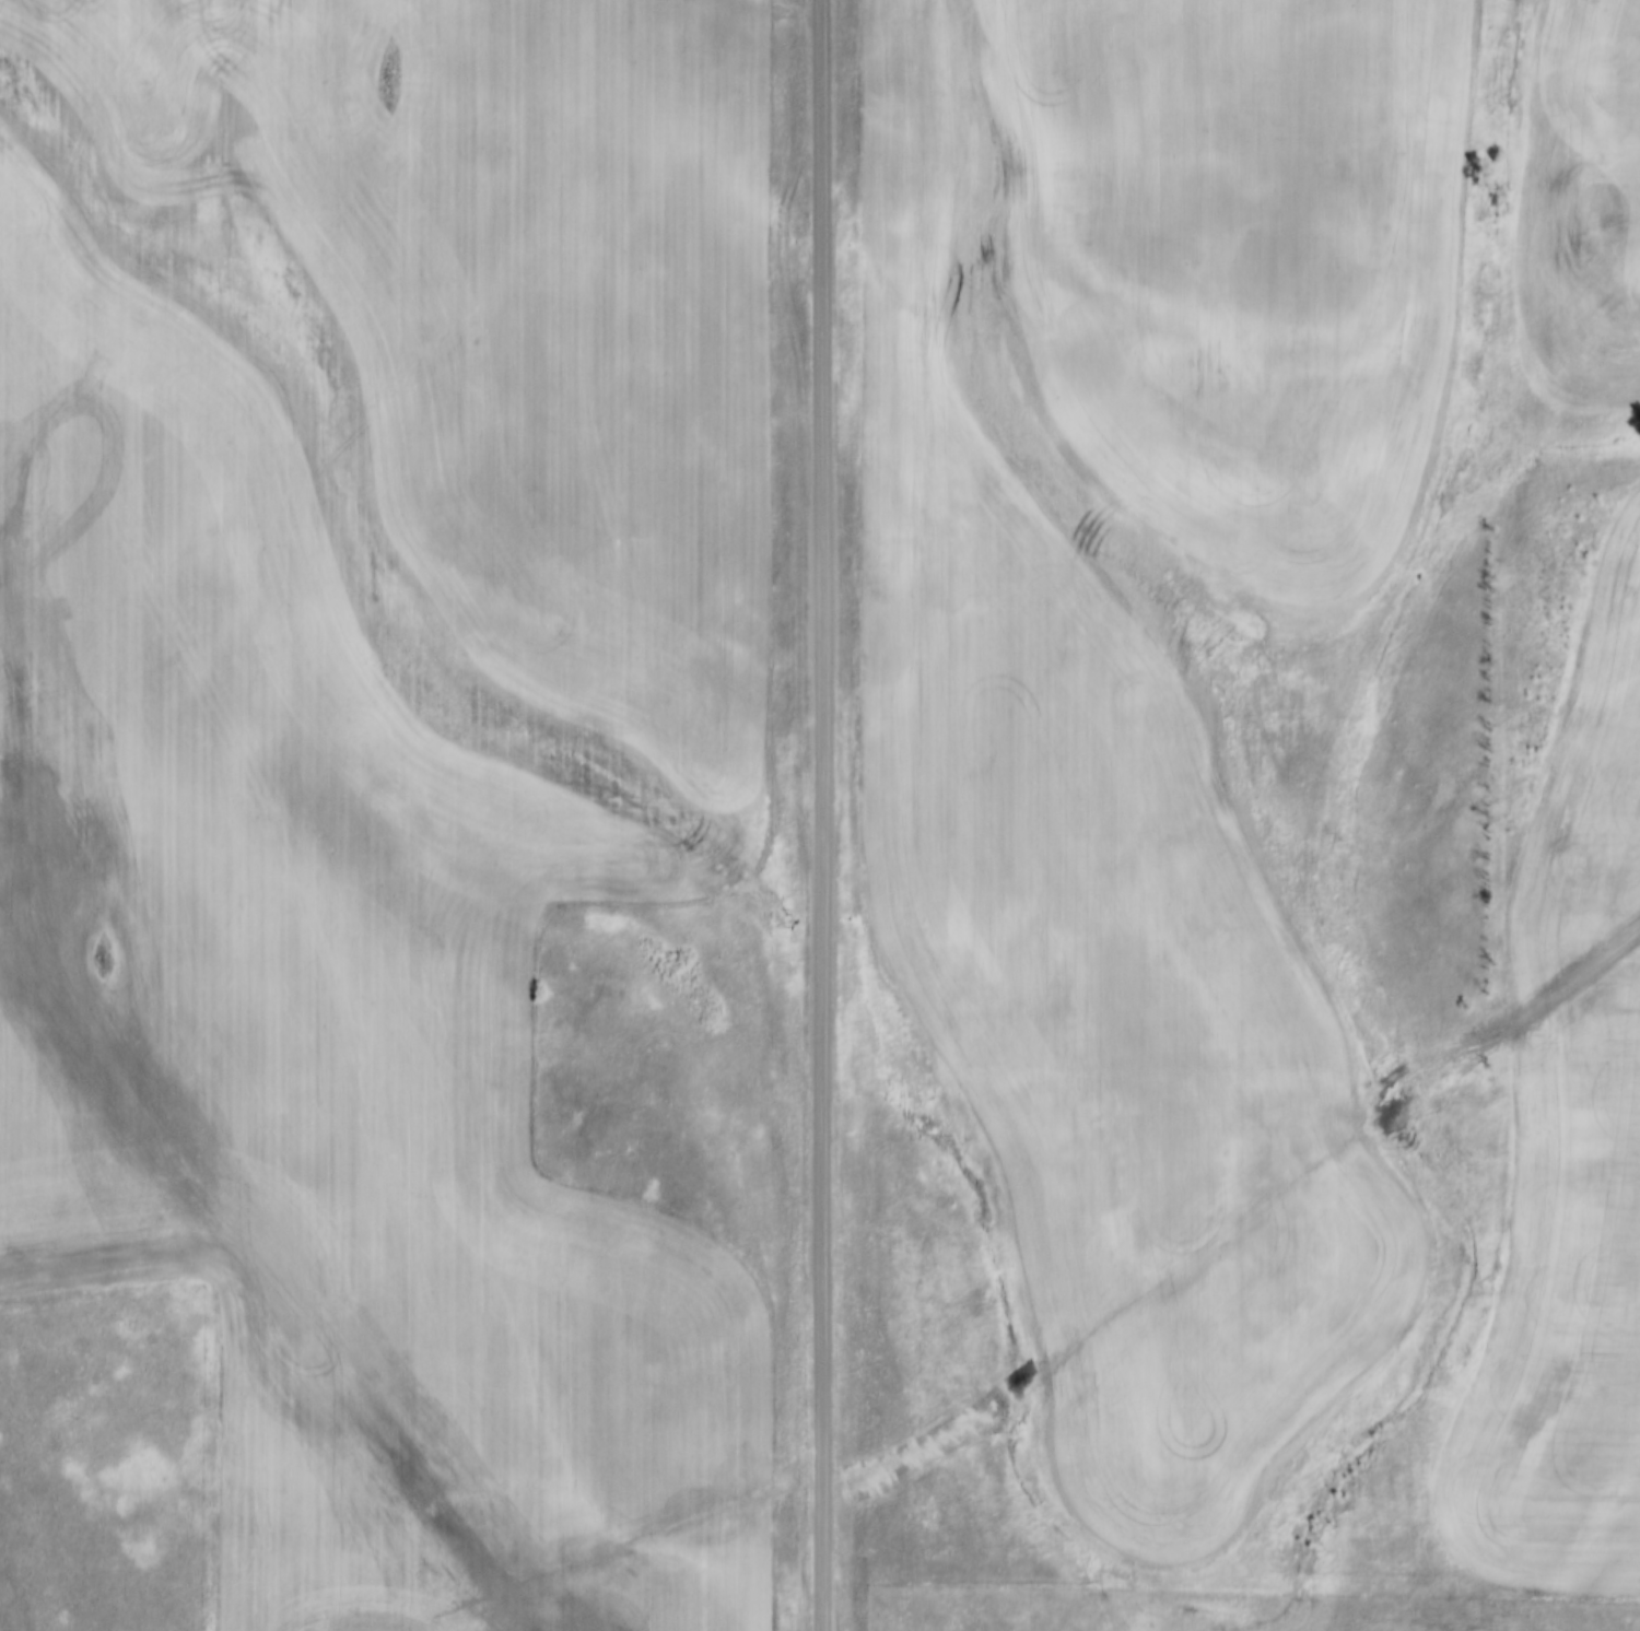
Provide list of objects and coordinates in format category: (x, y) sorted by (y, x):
road: (823, 814)

